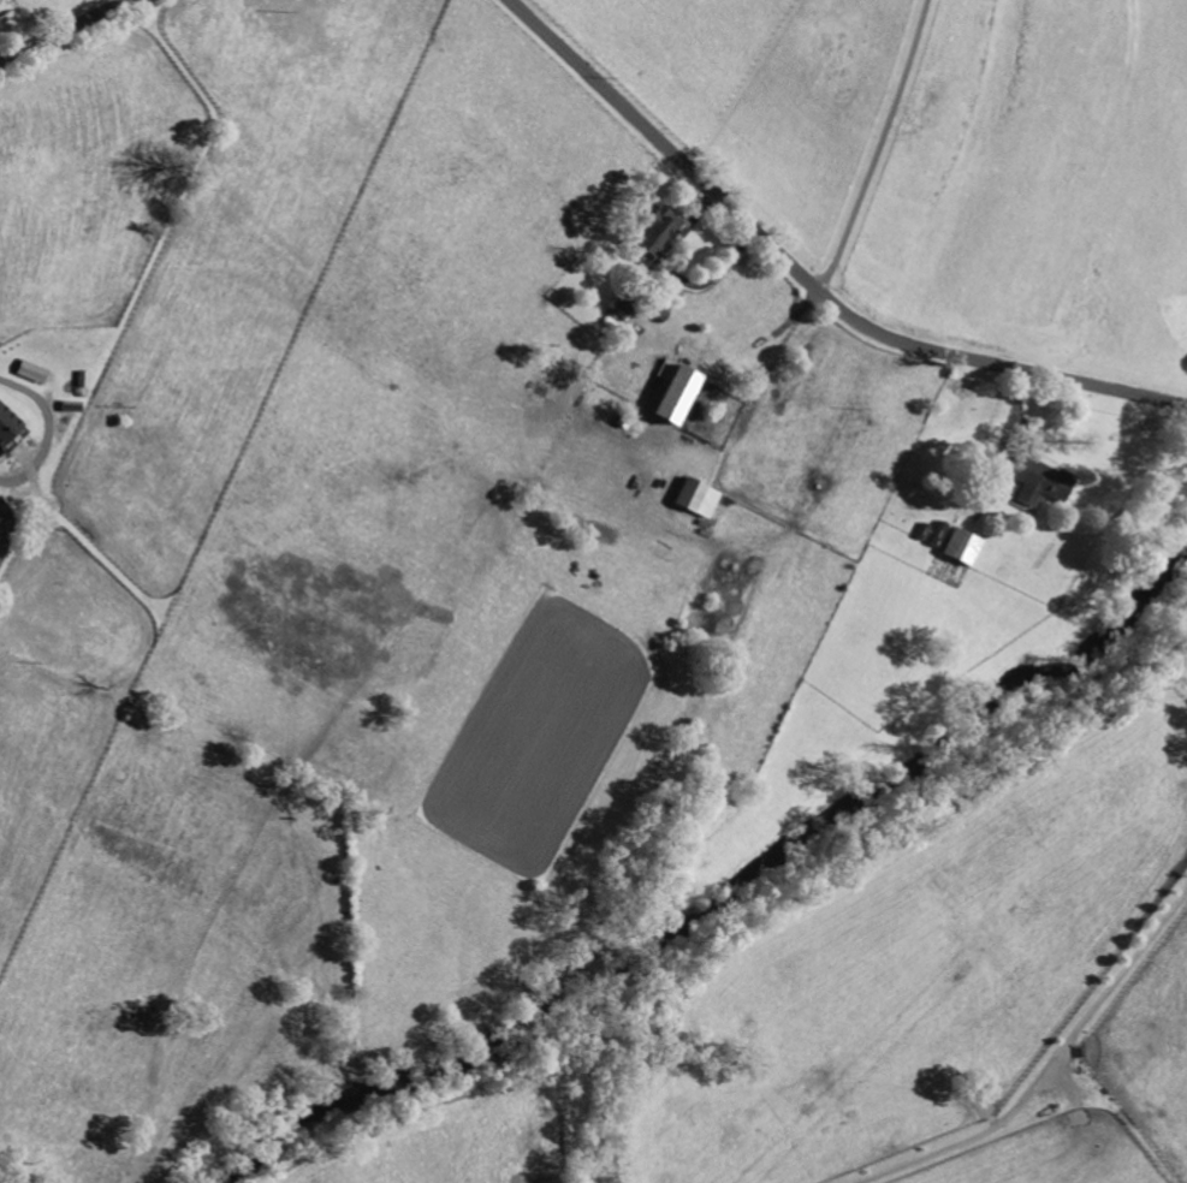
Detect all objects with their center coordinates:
road: (65, 29)
road: (877, 150)
building: (658, 231)
road: (803, 283)
building: (624, 303)
building: (31, 370)
building: (672, 391)
building: (6, 423)
road: (47, 430)
building: (1040, 480)
building: (696, 497)
building: (961, 546)
road: (1058, 1066)

